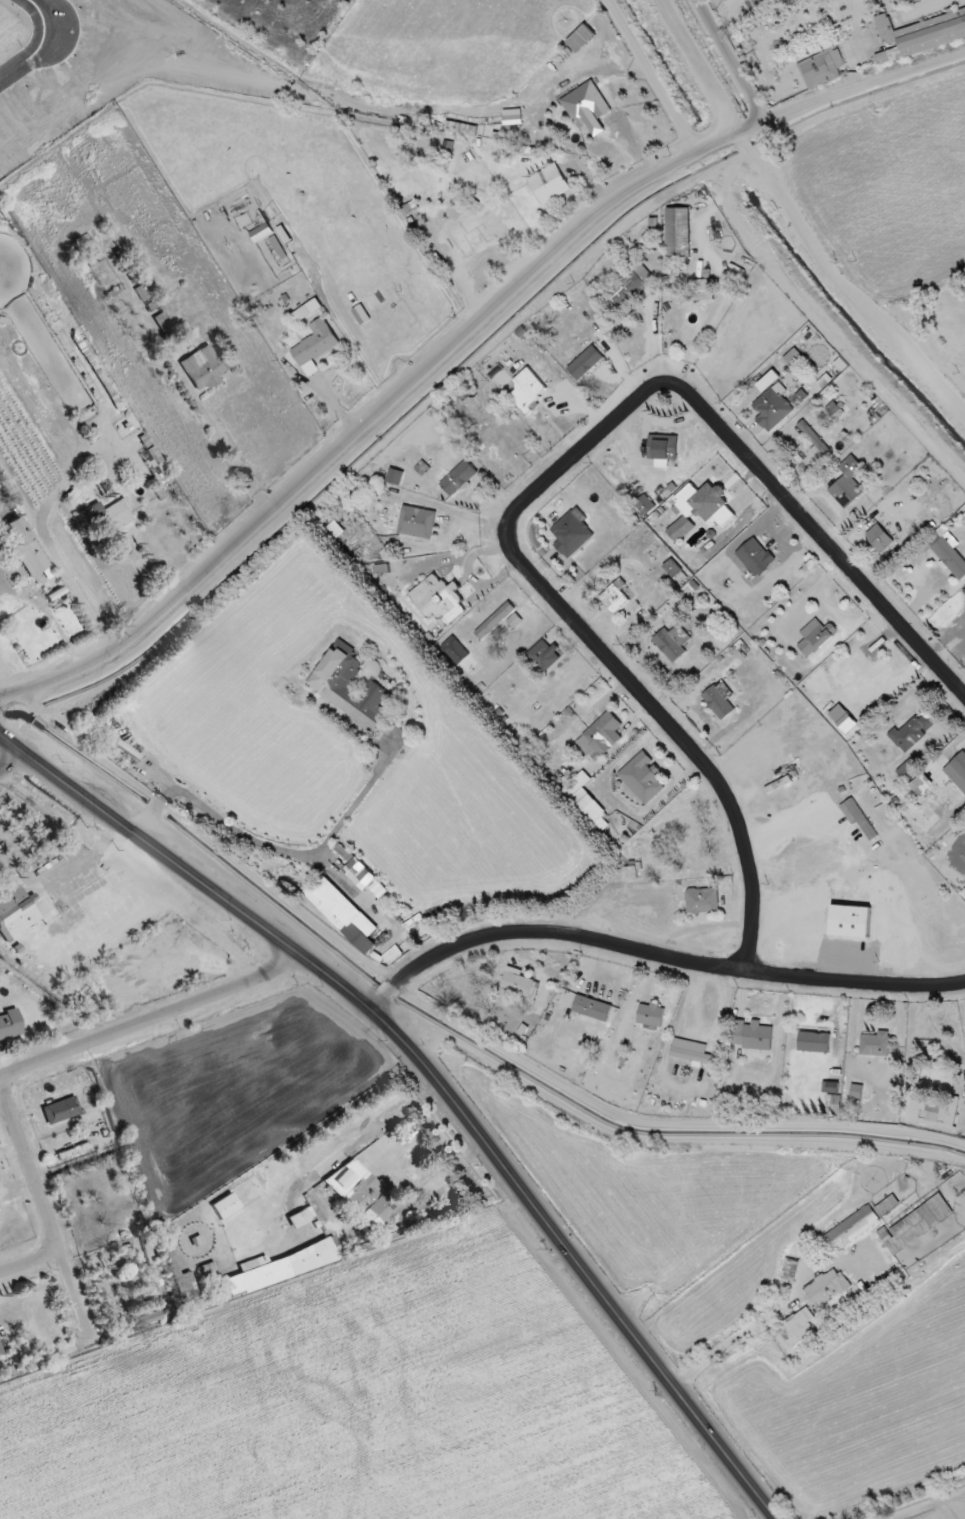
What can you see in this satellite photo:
building: (885, 29)
building: (932, 32)
building: (581, 39)
road: (699, 67)
building: (821, 69)
building: (586, 108)
building: (512, 119)
building: (460, 128)
building: (548, 184)
building: (677, 232)
building: (261, 233)
building: (457, 244)
road: (859, 250)
building: (630, 284)
building: (696, 292)
building: (162, 323)
building: (315, 346)
building: (792, 358)
building: (585, 363)
road: (428, 364)
building: (202, 368)
building: (768, 381)
building: (527, 390)
building: (772, 408)
building: (813, 438)
road: (223, 445)
building: (663, 450)
building: (394, 477)
building: (458, 478)
road: (546, 481)
building: (847, 484)
building: (705, 504)
building: (643, 505)
building: (114, 515)
building: (417, 522)
building: (680, 529)
building: (572, 533)
building: (879, 539)
road: (44, 541)
building: (25, 548)
building: (947, 553)
building: (755, 557)
building: (674, 571)
building: (963, 593)
building: (614, 597)
building: (438, 599)
building: (494, 621)
building: (514, 621)
building: (815, 638)
building: (672, 643)
building: (455, 651)
building: (544, 656)
building: (329, 683)
building: (719, 700)
building: (911, 732)
building: (601, 737)
park: (6, 757)
road: (10, 761)
building: (957, 771)
building: (642, 778)
building: (585, 802)
building: (860, 819)
road: (789, 830)
road: (280, 851)
building: (630, 873)
building: (378, 889)
building: (702, 901)
building: (16, 912)
building: (342, 913)
building: (850, 922)
road: (655, 956)
building: (517, 988)
building: (592, 1009)
building: (650, 1016)
road: (148, 1020)
building: (9, 1023)
building: (752, 1036)
building: (814, 1042)
building: (874, 1044)
building: (690, 1051)
road: (435, 1078)
building: (856, 1092)
building: (833, 1105)
building: (61, 1110)
building: (934, 1113)
road: (370, 1135)
building: (359, 1192)
building: (886, 1206)
building: (224, 1208)
road: (47, 1212)
building: (300, 1217)
building: (916, 1225)
building: (847, 1232)
road: (29, 1261)
building: (278, 1267)
building: (790, 1270)
building: (209, 1271)
building: (826, 1288)
building: (152, 1316)
road: (761, 1321)
building: (795, 1329)

